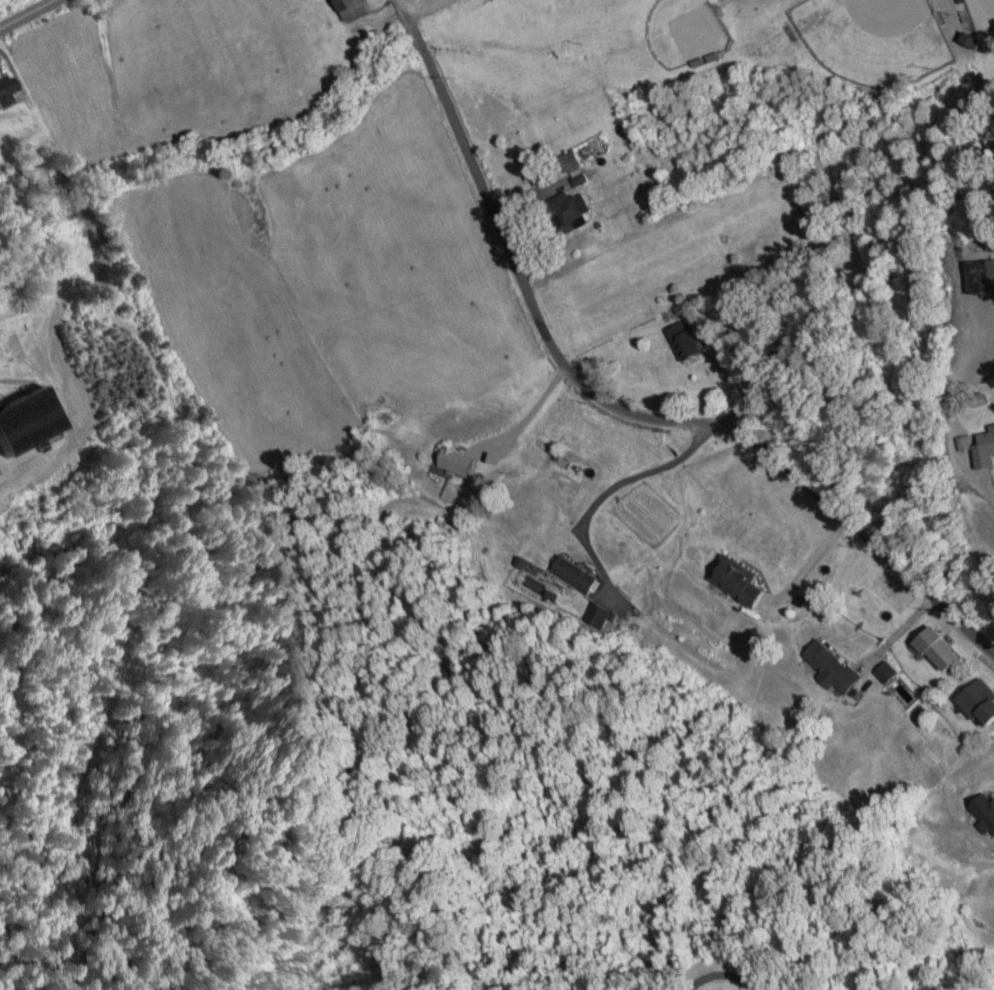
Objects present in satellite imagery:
building: (965, 1)
building: (359, 8)
road: (28, 15)
building: (978, 40)
building: (8, 90)
building: (576, 164)
building: (822, 207)
building: (579, 211)
building: (983, 277)
building: (691, 341)
road: (614, 408)
building: (30, 420)
building: (970, 443)
building: (988, 451)
building: (462, 462)
building: (580, 573)
building: (743, 580)
building: (600, 611)
building: (945, 648)
building: (837, 666)
building: (892, 672)
building: (981, 700)
building: (987, 809)
road: (720, 974)

